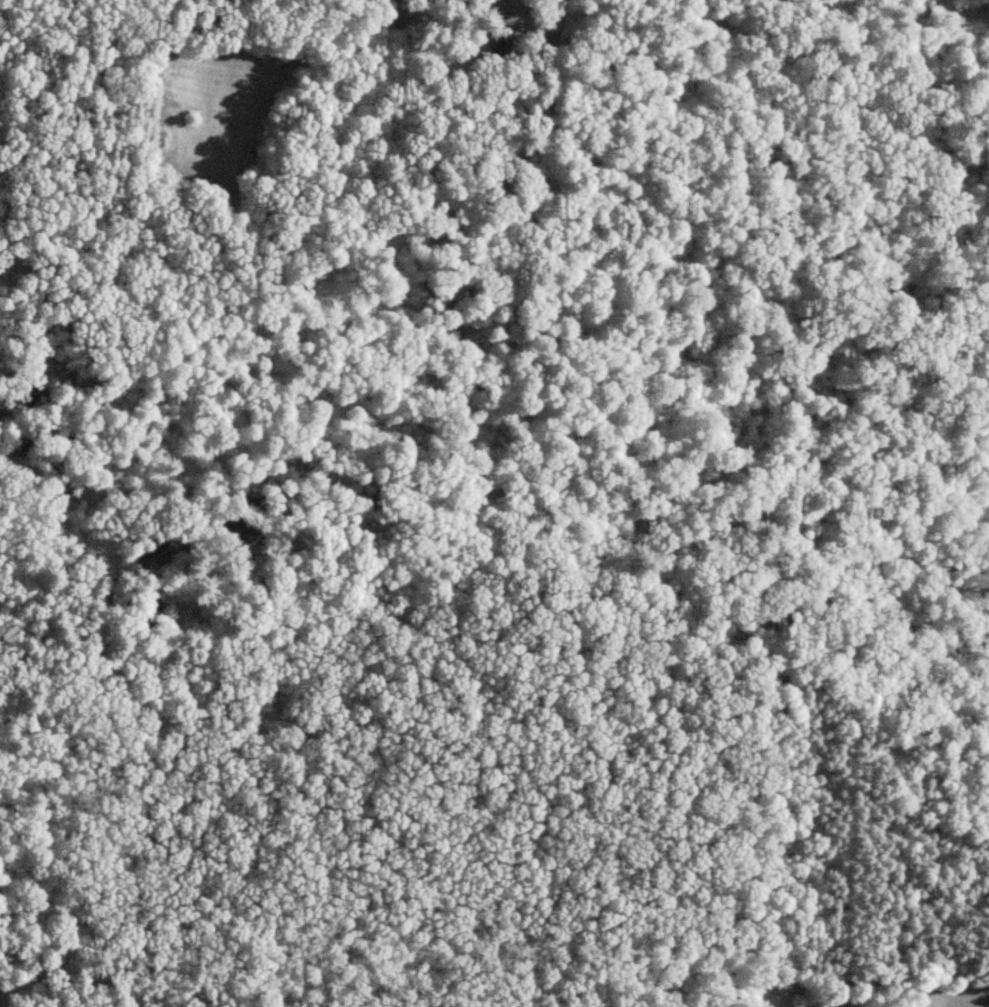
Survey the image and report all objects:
road: (6, 0)
road: (365, 20)

